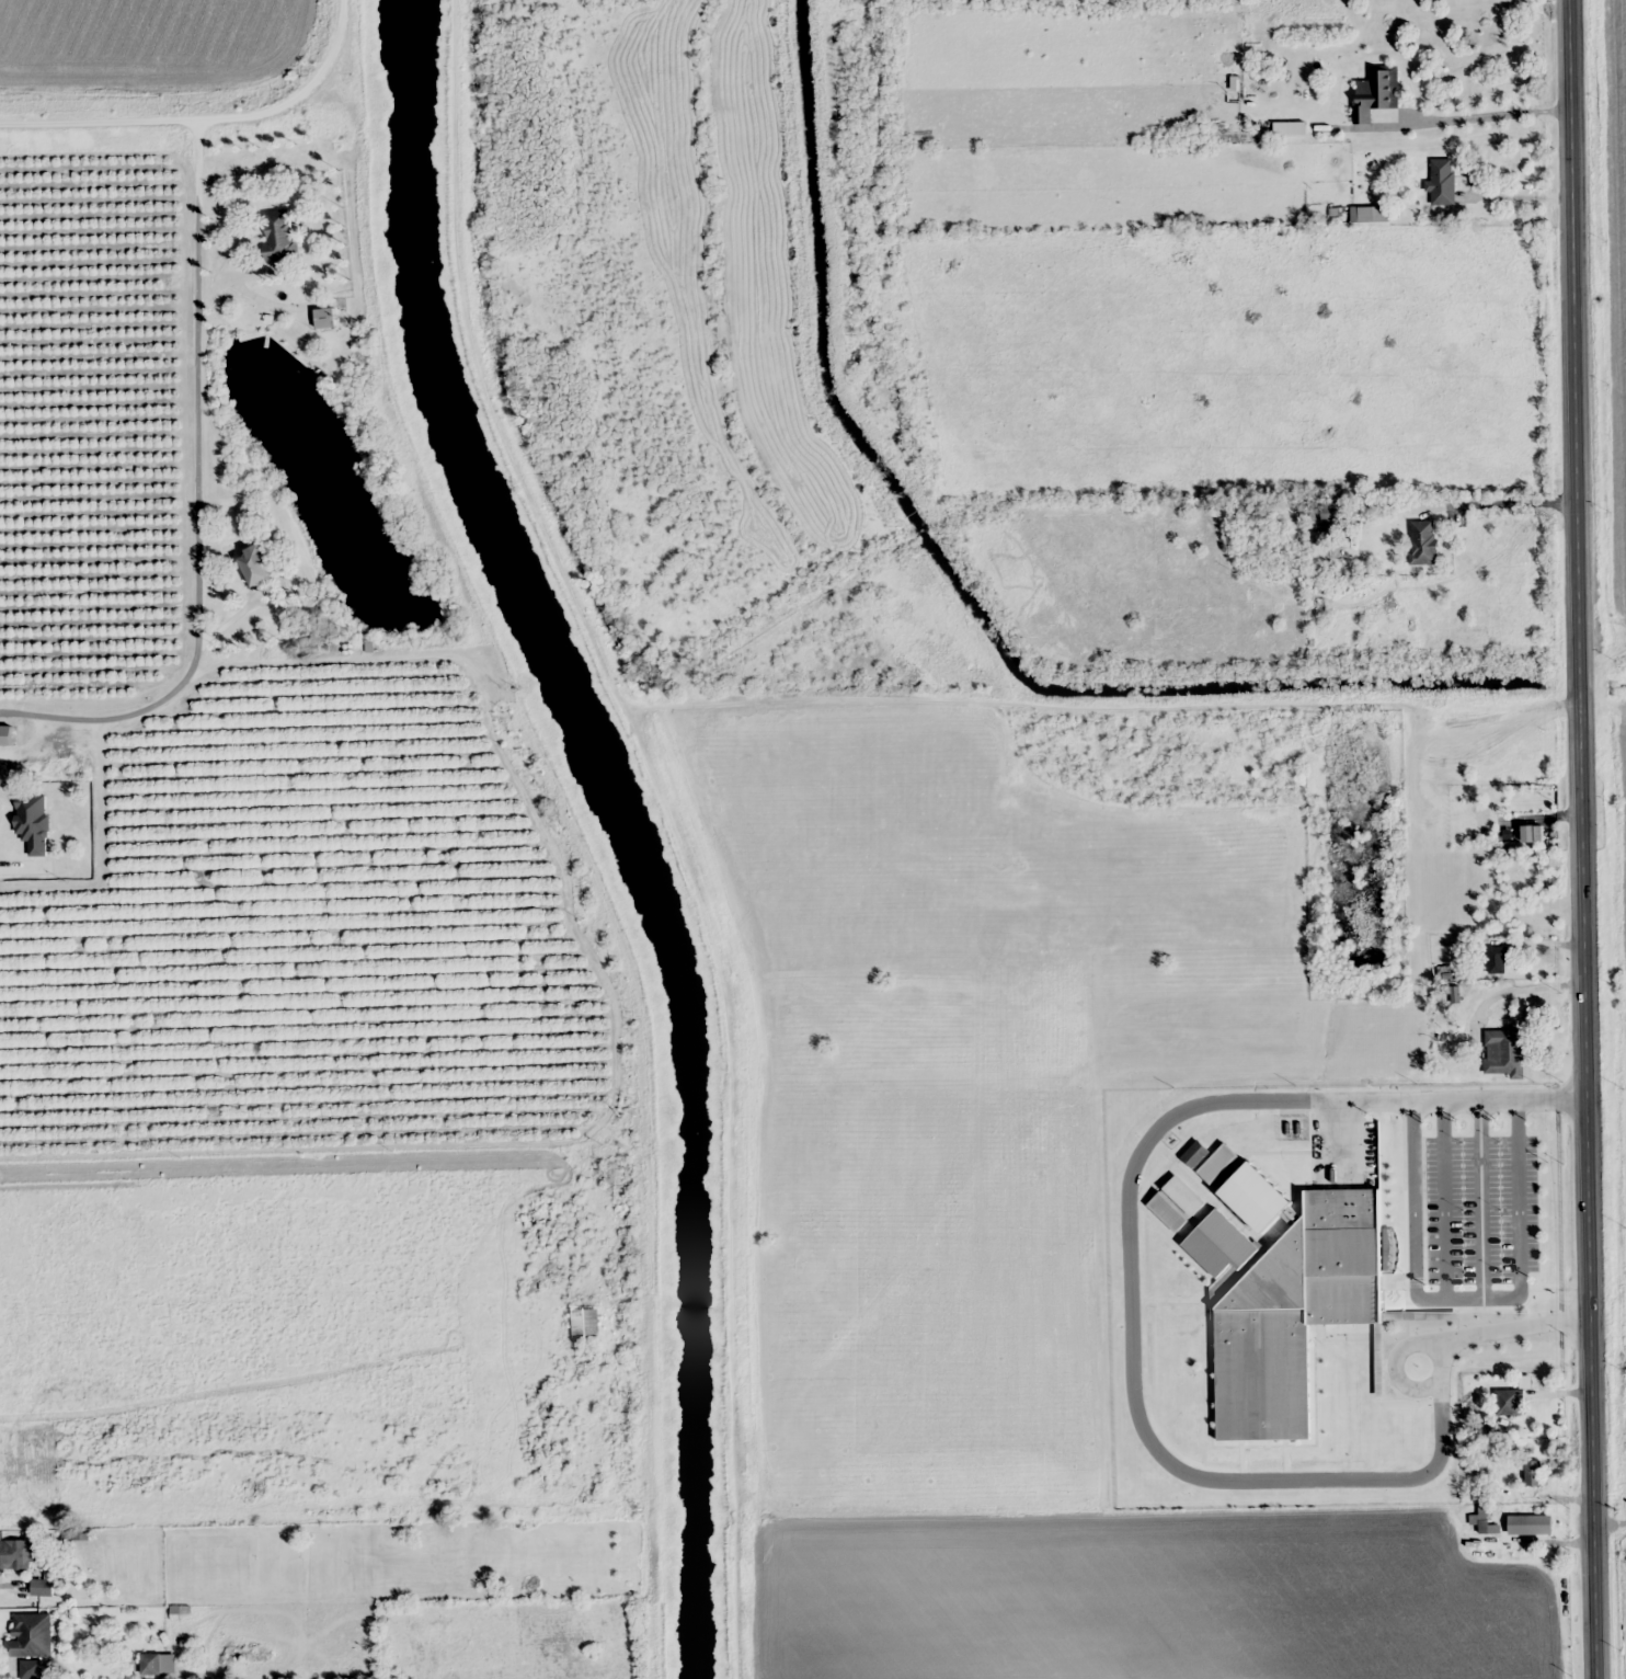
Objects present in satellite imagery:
road: (173, 57)
building: (1375, 92)
building: (1441, 181)
building: (1359, 214)
building: (279, 235)
building: (324, 318)
building: (1332, 513)
building: (1422, 541)
building: (255, 566)
building: (4, 735)
building: (33, 822)
river: (622, 825)
building: (1527, 834)
road: (1590, 838)
building: (1497, 956)
building: (1504, 1051)
building: (1290, 1303)
building: (584, 1325)
building: (1508, 1402)
building: (1533, 1473)
building: (1530, 1524)
building: (18, 1554)
building: (46, 1584)
building: (28, 1636)
building: (150, 1664)
building: (28, 1669)

